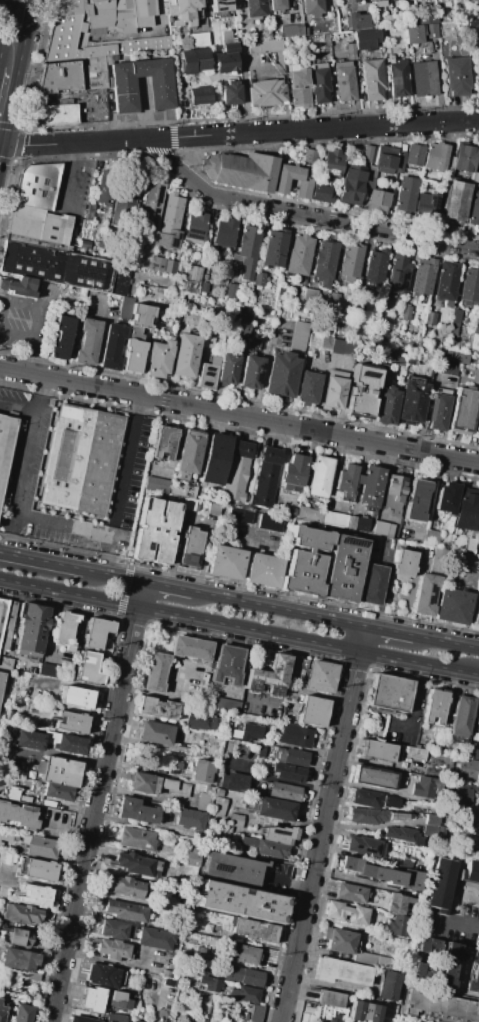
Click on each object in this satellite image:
building: (351, 0)
building: (371, 0)
building: (469, 0)
building: (277, 5)
building: (65, 7)
building: (252, 7)
building: (311, 7)
building: (220, 9)
building: (377, 10)
building: (143, 12)
building: (184, 12)
building: (410, 14)
building: (478, 14)
road: (19, 16)
building: (98, 16)
building: (124, 16)
building: (426, 18)
building: (388, 19)
building: (357, 20)
building: (291, 30)
building: (473, 30)
building: (420, 32)
building: (64, 38)
building: (197, 39)
building: (366, 39)
building: (125, 46)
building: (265, 46)
building: (350, 49)
road: (12, 50)
building: (194, 60)
building: (226, 62)
building: (93, 73)
building: (457, 75)
building: (58, 78)
building: (398, 78)
building: (373, 79)
building: (424, 79)
road: (241, 81)
building: (344, 81)
building: (319, 82)
building: (298, 88)
road: (4, 89)
building: (267, 92)
building: (160, 93)
building: (230, 93)
building: (199, 95)
building: (53, 115)
road: (239, 134)
building: (366, 154)
building: (414, 154)
building: (309, 156)
building: (435, 157)
building: (461, 159)
building: (399, 161)
building: (331, 163)
building: (381, 163)
building: (478, 166)
building: (240, 171)
road: (70, 177)
building: (475, 178)
building: (302, 184)
building: (351, 185)
building: (105, 189)
building: (321, 193)
building: (405, 194)
building: (151, 200)
building: (376, 201)
building: (454, 201)
building: (124, 203)
building: (425, 208)
building: (37, 209)
building: (474, 210)
building: (89, 212)
road: (304, 214)
building: (98, 218)
building: (170, 221)
building: (195, 228)
building: (224, 236)
building: (83, 244)
building: (274, 248)
building: (248, 250)
building: (299, 255)
building: (350, 262)
building: (324, 263)
building: (162, 265)
building: (375, 267)
building: (59, 270)
building: (194, 273)
building: (398, 274)
building: (422, 276)
building: (259, 280)
building: (150, 282)
building: (446, 282)
building: (470, 287)
building: (203, 288)
building: (230, 291)
building: (210, 292)
building: (309, 296)
building: (151, 297)
building: (333, 298)
building: (418, 300)
road: (31, 302)
building: (357, 310)
building: (405, 313)
building: (429, 318)
building: (140, 320)
building: (454, 321)
building: (242, 326)
building: (477, 329)
building: (463, 331)
road: (17, 334)
building: (299, 335)
building: (61, 337)
building: (87, 342)
building: (207, 342)
building: (318, 342)
building: (111, 347)
building: (344, 348)
road: (30, 355)
building: (132, 355)
building: (184, 356)
building: (394, 357)
building: (456, 357)
building: (157, 359)
road: (324, 361)
road: (261, 367)
building: (444, 367)
building: (227, 369)
building: (251, 372)
building: (428, 373)
building: (281, 374)
building: (205, 376)
building: (307, 388)
building: (361, 391)
building: (332, 393)
road: (317, 395)
building: (412, 401)
road: (18, 404)
building: (386, 405)
building: (463, 409)
building: (437, 412)
road: (239, 415)
building: (477, 424)
building: (164, 441)
building: (6, 447)
road: (173, 449)
building: (188, 453)
building: (214, 458)
building: (81, 460)
parking lot: (133, 464)
road: (25, 465)
building: (237, 471)
building: (292, 473)
building: (318, 476)
building: (266, 477)
building: (358, 479)
building: (345, 481)
road: (329, 483)
road: (124, 485)
building: (156, 485)
building: (370, 486)
building: (183, 491)
building: (394, 495)
building: (446, 498)
building: (415, 500)
road: (425, 503)
building: (194, 506)
building: (213, 509)
building: (466, 510)
building: (308, 515)
building: (239, 516)
road: (195, 517)
building: (337, 519)
building: (269, 523)
building: (436, 523)
building: (358, 524)
road: (64, 526)
building: (383, 529)
building: (154, 531)
building: (478, 532)
road: (250, 535)
building: (430, 538)
road: (478, 540)
building: (470, 544)
building: (190, 548)
building: (450, 559)
road: (42, 561)
building: (303, 561)
building: (226, 562)
building: (404, 564)
road: (242, 567)
building: (343, 568)
building: (263, 570)
road: (113, 576)
road: (383, 579)
building: (371, 584)
road: (167, 586)
road: (123, 591)
road: (141, 594)
building: (424, 595)
building: (478, 596)
road: (470, 598)
building: (453, 607)
road: (277, 608)
building: (2, 612)
building: (476, 613)
road: (238, 627)
building: (32, 628)
building: (65, 630)
road: (388, 631)
building: (96, 632)
road: (362, 639)
road: (445, 642)
building: (190, 648)
building: (5, 663)
building: (227, 664)
building: (66, 667)
building: (89, 668)
building: (47, 669)
building: (32, 670)
road: (179, 670)
building: (299, 670)
building: (155, 672)
road: (478, 675)
building: (267, 677)
building: (320, 677)
building: (2, 681)
road: (84, 685)
building: (14, 688)
road: (282, 690)
road: (310, 691)
building: (389, 693)
road: (417, 695)
building: (77, 697)
building: (227, 705)
building: (434, 706)
building: (156, 708)
building: (313, 711)
building: (460, 716)
building: (200, 721)
building: (72, 722)
building: (41, 725)
building: (478, 729)
building: (247, 732)
building: (154, 733)
building: (295, 735)
building: (31, 739)
building: (67, 743)
building: (377, 751)
building: (415, 752)
building: (472, 754)
building: (292, 756)
building: (260, 764)
building: (467, 768)
building: (57, 770)
building: (201, 771)
building: (287, 772)
building: (374, 777)
road: (285, 779)
building: (233, 782)
building: (143, 783)
building: (175, 787)
building: (423, 787)
building: (209, 789)
road: (377, 789)
building: (284, 791)
building: (56, 792)
building: (461, 794)
road: (154, 797)
building: (369, 799)
building: (255, 800)
building: (203, 802)
building: (411, 802)
building: (218, 807)
building: (275, 809)
road: (470, 809)
building: (136, 811)
building: (396, 812)
road: (94, 814)
building: (18, 815)
building: (367, 816)
building: (191, 819)
building: (236, 820)
road: (369, 825)
building: (431, 826)
building: (280, 835)
building: (403, 835)
building: (4, 836)
road: (319, 837)
building: (135, 838)
building: (41, 846)
building: (365, 846)
building: (265, 847)
building: (191, 858)
building: (400, 862)
building: (136, 864)
building: (231, 868)
building: (40, 870)
building: (470, 872)
building: (383, 874)
road: (286, 880)
building: (441, 883)
building: (125, 887)
building: (351, 893)
building: (35, 895)
building: (241, 902)
building: (399, 903)
building: (124, 911)
building: (345, 913)
building: (21, 914)
road: (460, 924)
building: (398, 926)
building: (111, 929)
building: (254, 930)
building: (16, 937)
building: (154, 939)
building: (429, 946)
building: (351, 947)
building: (113, 950)
building: (242, 954)
building: (19, 959)
road: (116, 962)
building: (447, 966)
building: (340, 971)
building: (418, 971)
building: (165, 973)
building: (232, 973)
building: (104, 975)
building: (474, 975)
building: (178, 978)
building: (251, 978)
building: (211, 984)
building: (389, 986)
road: (344, 987)
building: (244, 994)
building: (123, 998)
building: (330, 999)
building: (93, 1000)
building: (442, 1005)
building: (358, 1011)
building: (254, 1012)
building: (1, 1013)
building: (22, 1013)
building: (373, 1013)
building: (115, 1018)
building: (81, 1019)
building: (165, 1019)
building: (135, 1021)

